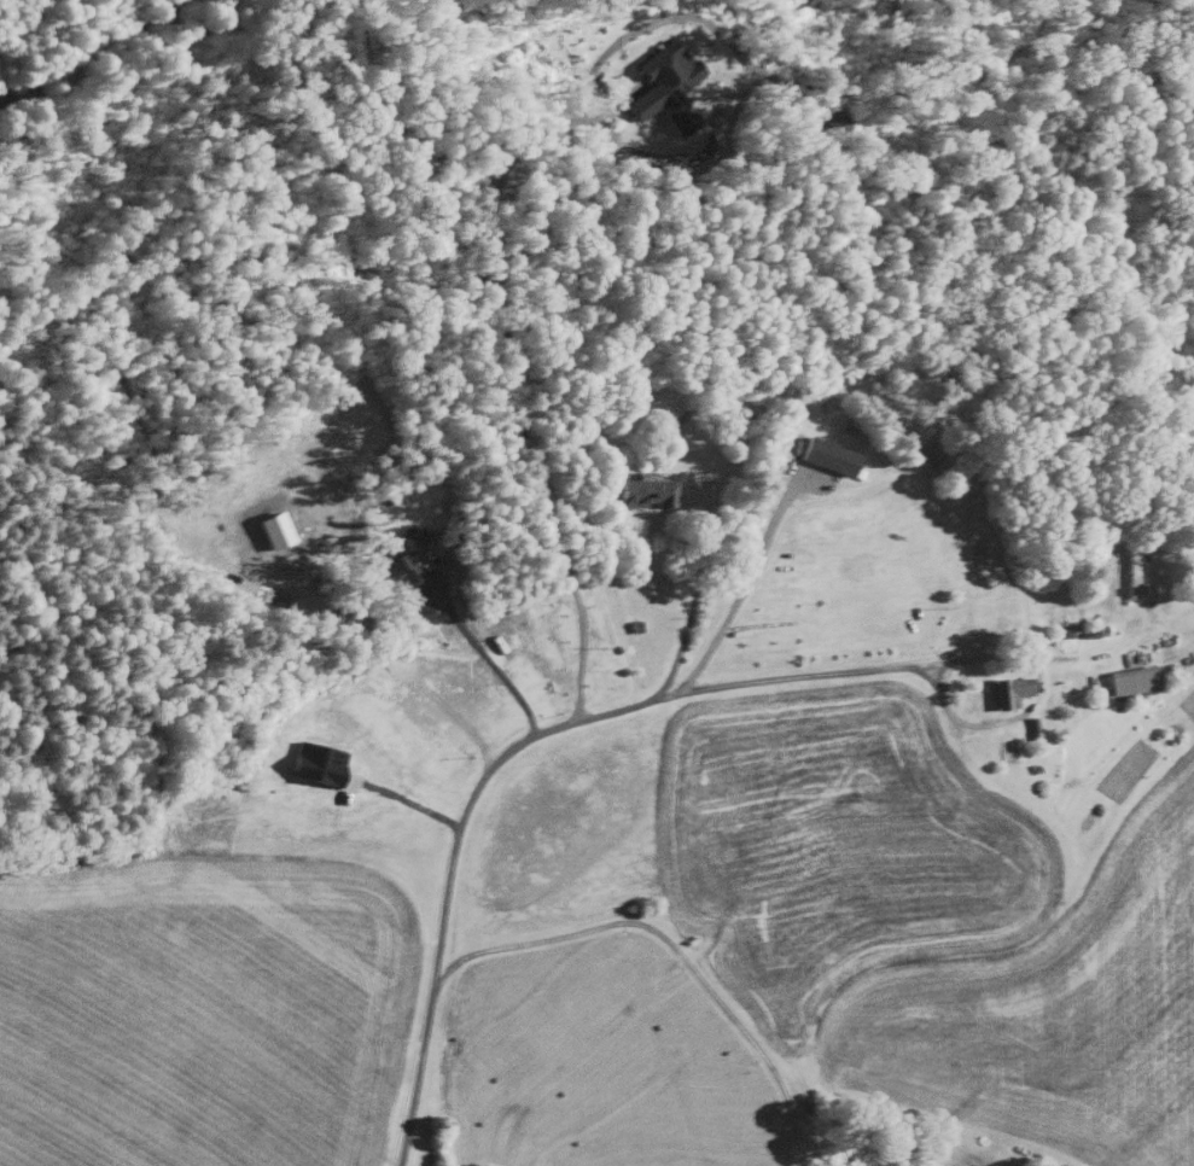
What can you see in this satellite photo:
building: (664, 84)
road: (511, 362)
building: (826, 455)
building: (641, 491)
building: (403, 555)
building: (1130, 572)
road: (738, 593)
road: (686, 616)
road: (1077, 653)
road: (488, 660)
road: (402, 663)
building: (1130, 678)
building: (1004, 690)
road: (534, 730)
building: (313, 763)
road: (402, 798)
road: (668, 939)

